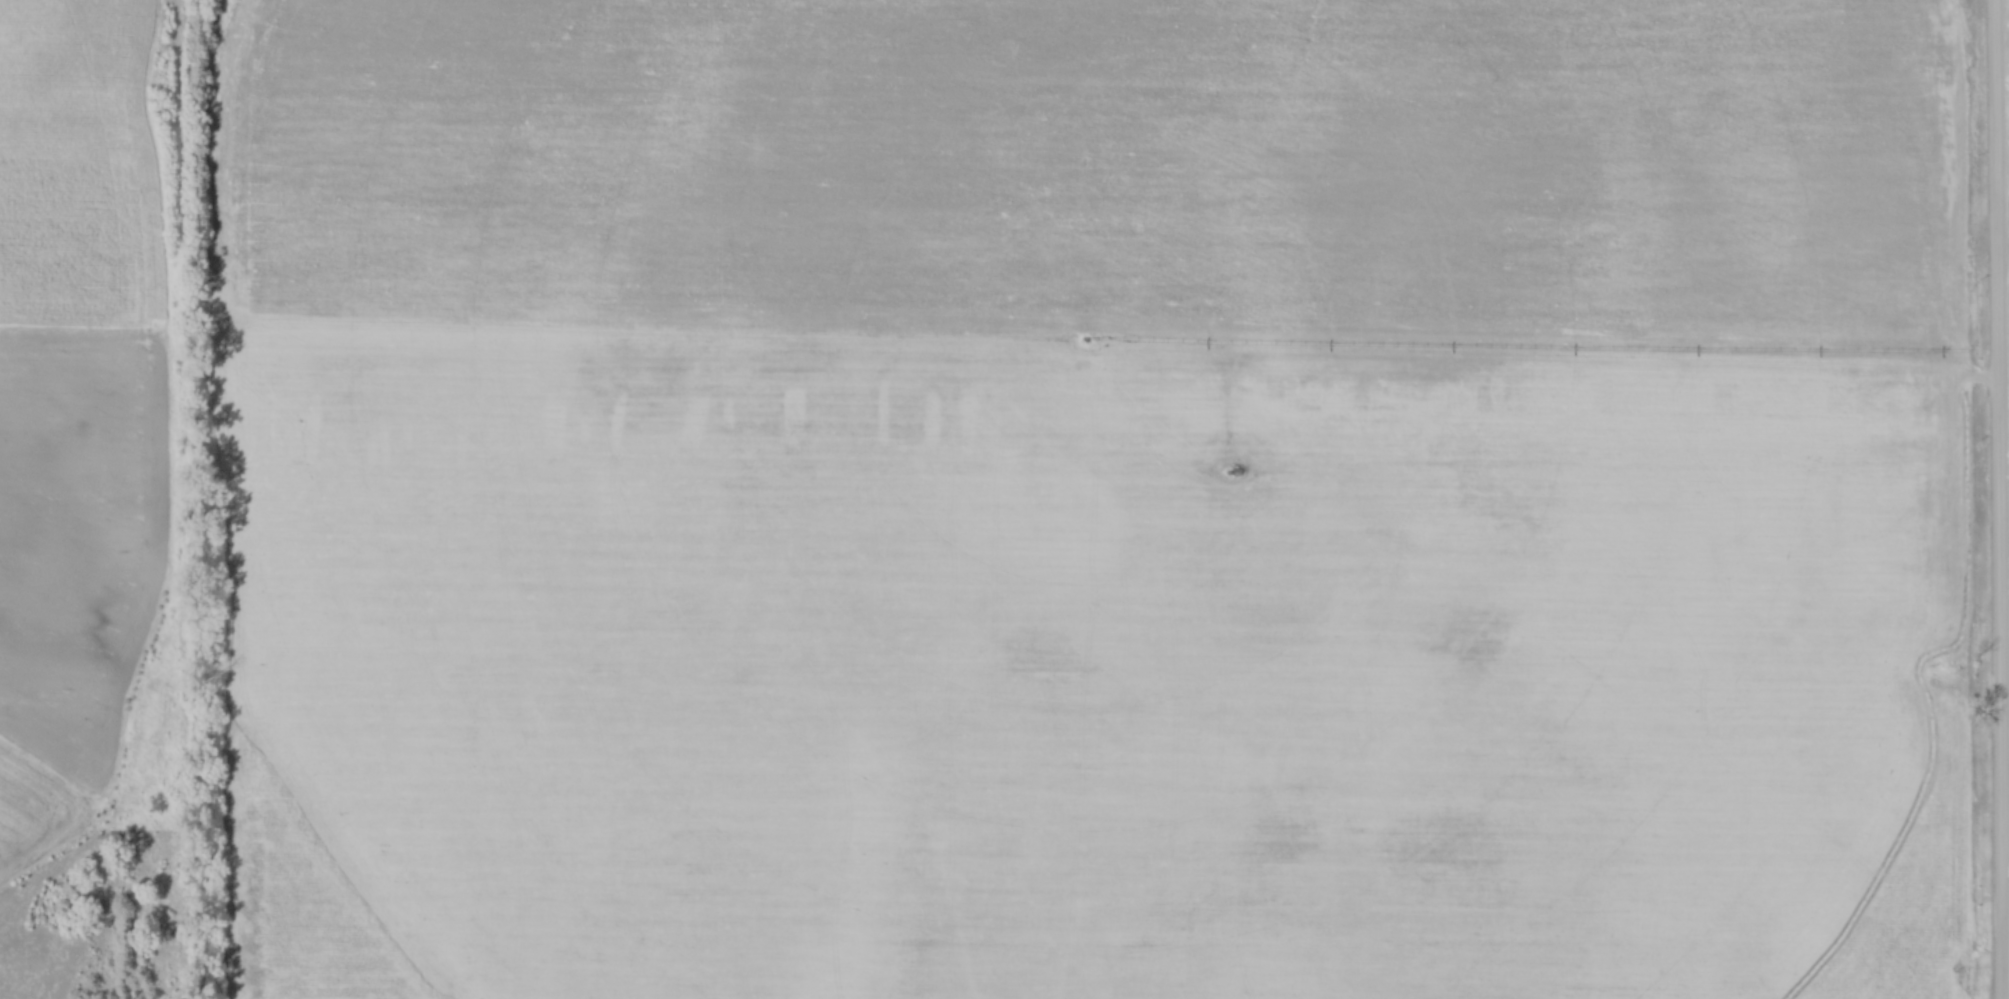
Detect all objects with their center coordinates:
road: (2003, 499)

